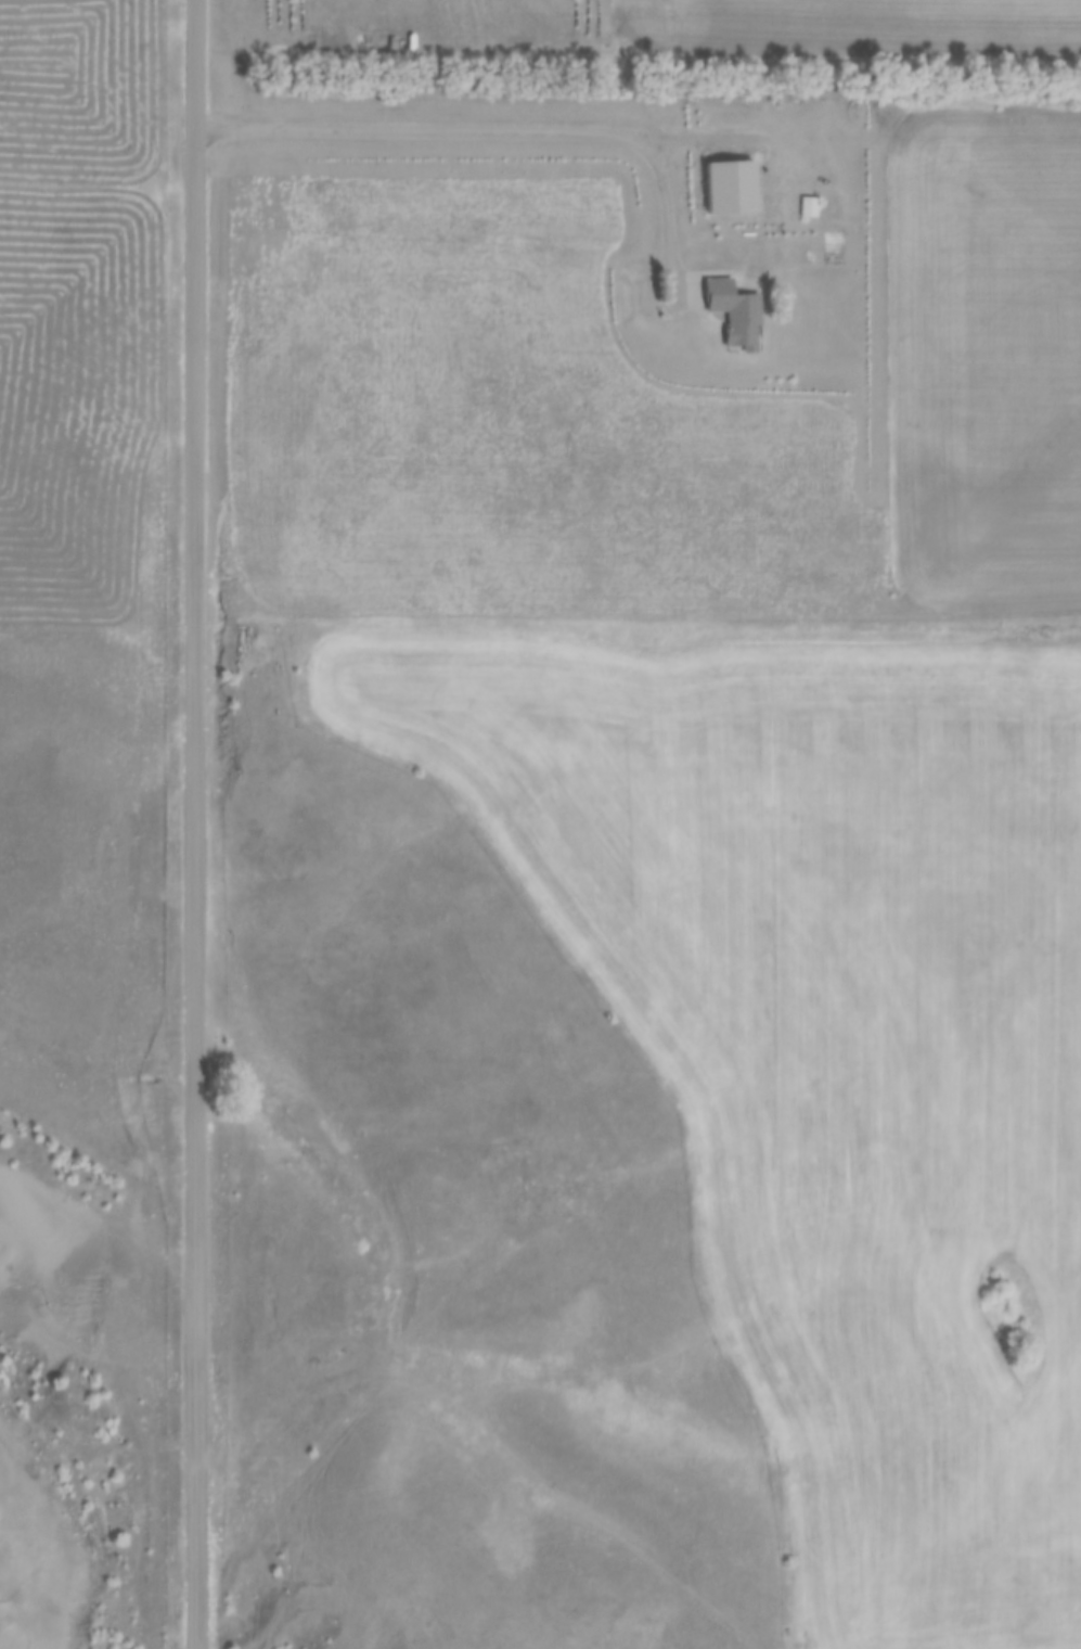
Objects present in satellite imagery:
road: (493, 111)
building: (735, 311)
road: (194, 824)
road: (27, 1592)

